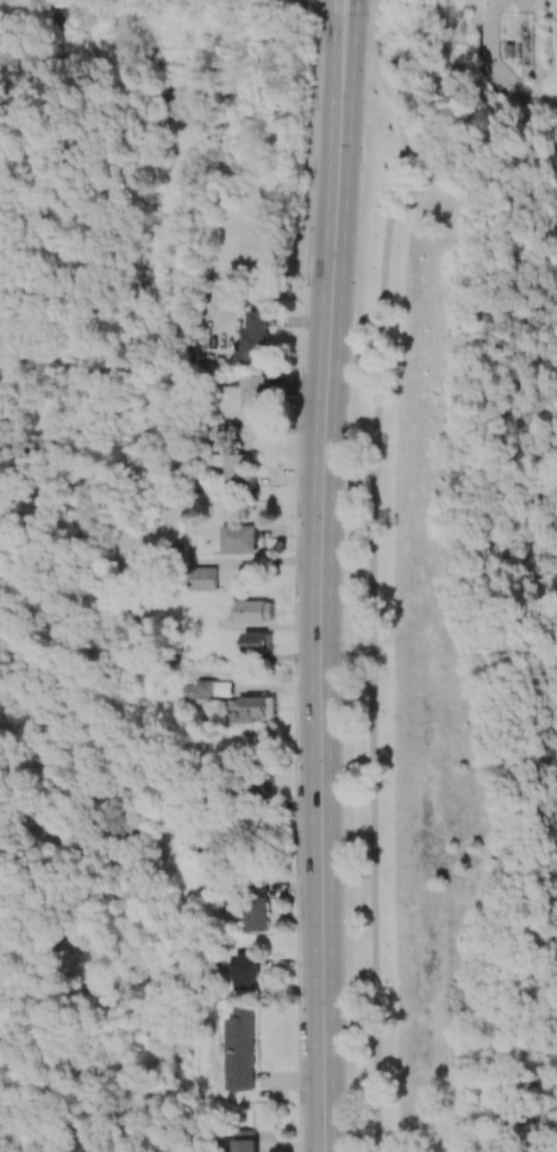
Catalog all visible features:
road: (348, 8)
road: (376, 8)
road: (524, 10)
road: (394, 95)
building: (255, 341)
building: (256, 396)
building: (238, 469)
building: (239, 538)
building: (204, 579)
road: (320, 584)
building: (255, 611)
building: (258, 642)
road: (374, 661)
building: (187, 689)
building: (213, 689)
building: (250, 709)
building: (263, 784)
park: (468, 829)
building: (257, 909)
building: (248, 971)
building: (240, 1048)
building: (244, 1141)

